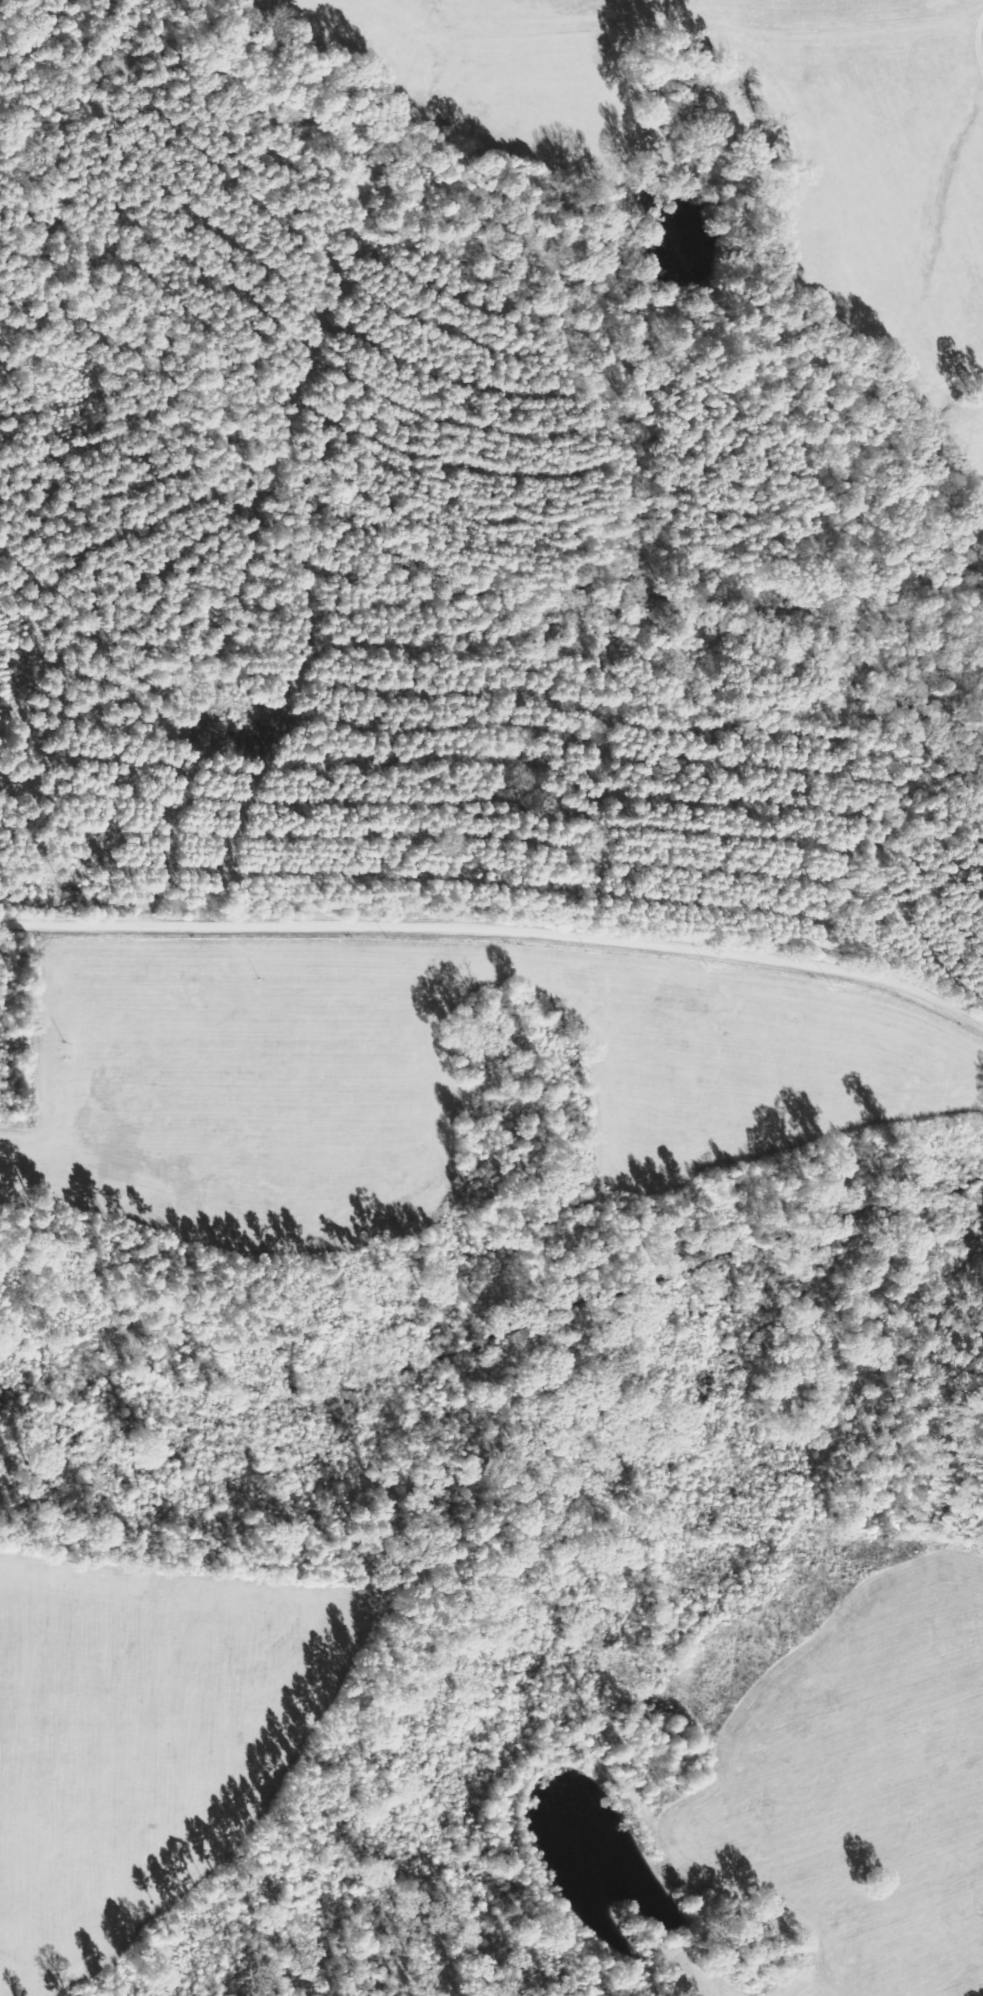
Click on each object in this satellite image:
road: (497, 928)

